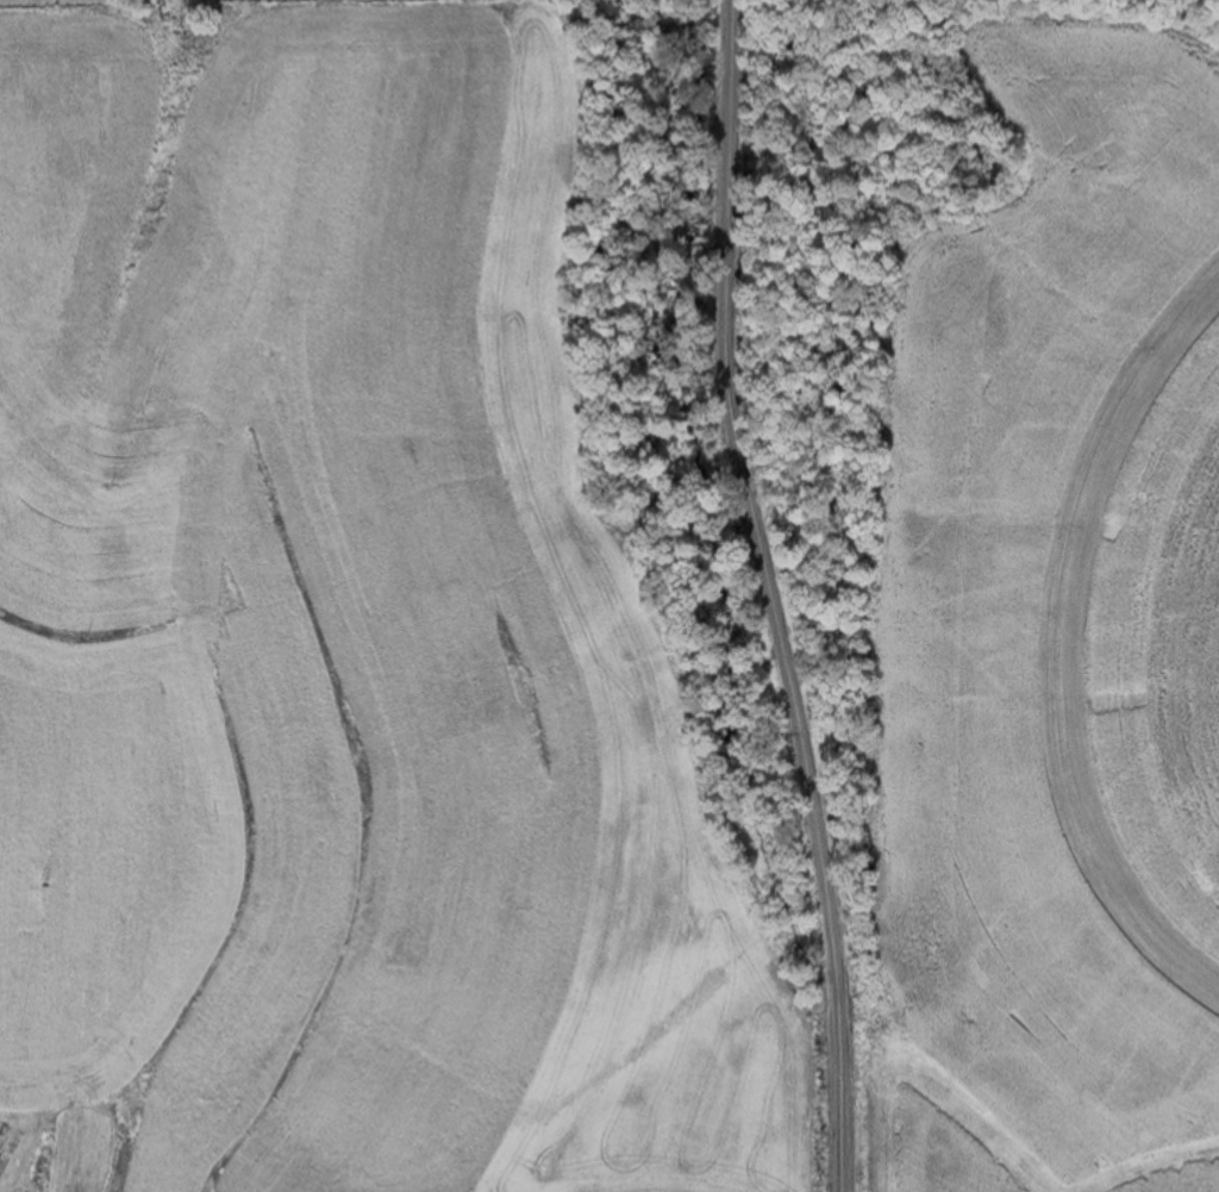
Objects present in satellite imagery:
road: (730, 2)
road: (773, 598)

